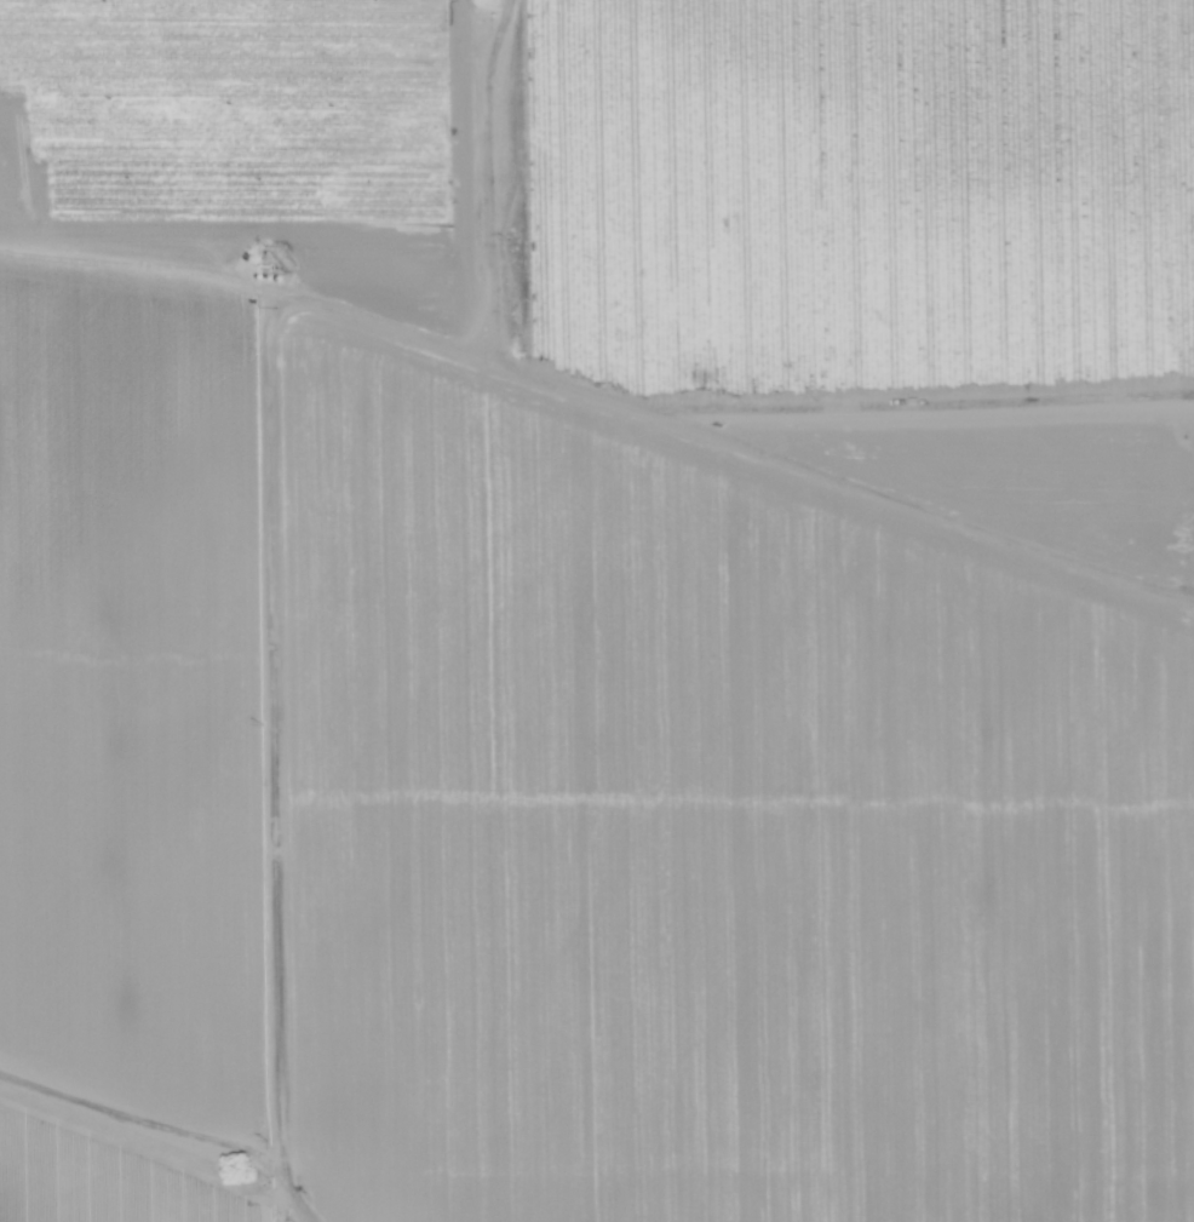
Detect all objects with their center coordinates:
road: (163, 1138)

